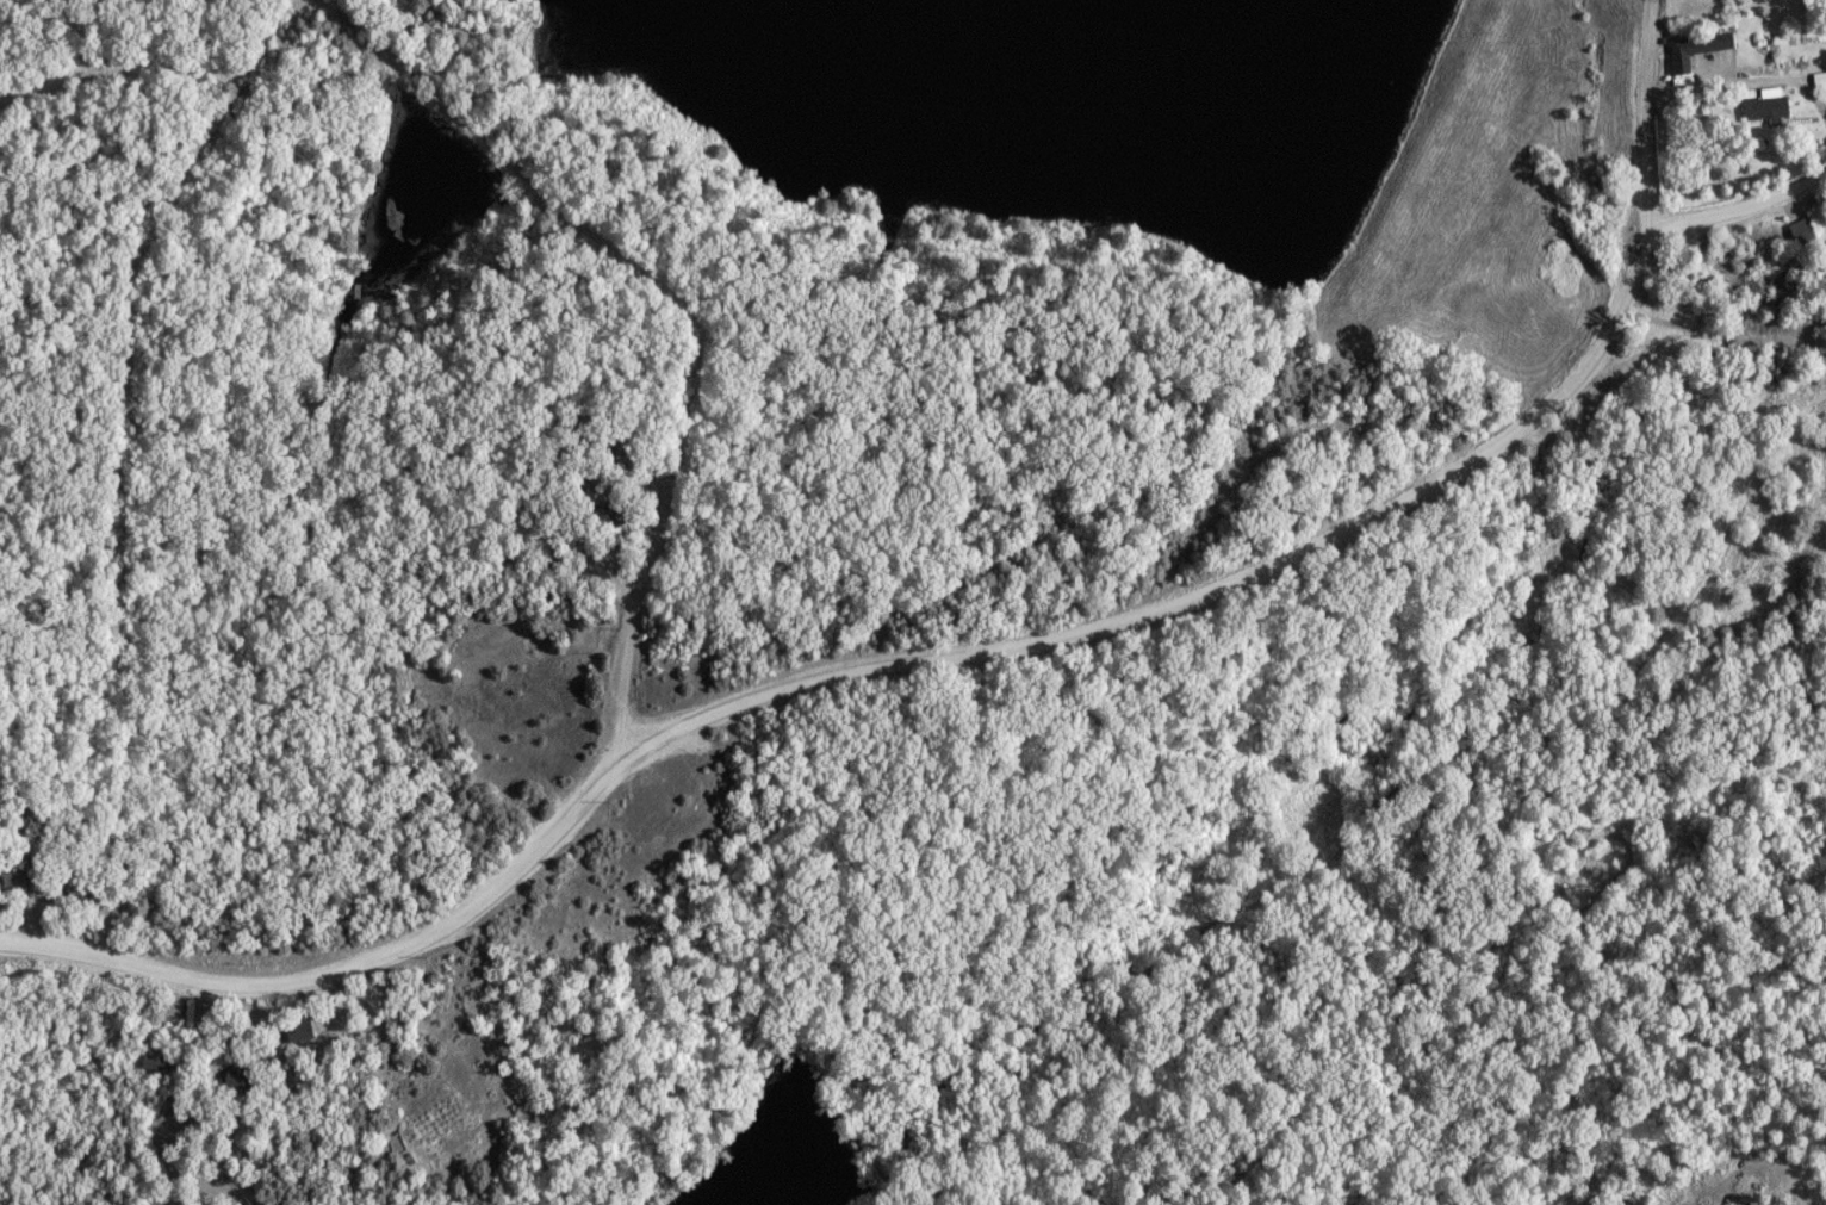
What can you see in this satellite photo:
building: (1698, 50)
road: (1744, 83)
building: (1768, 107)
road: (1645, 111)
road: (1739, 210)
building: (1805, 232)
road: (678, 299)
road: (1723, 341)
building: (594, 473)
road: (859, 670)
building: (15, 877)
building: (303, 1033)
building: (243, 1081)

